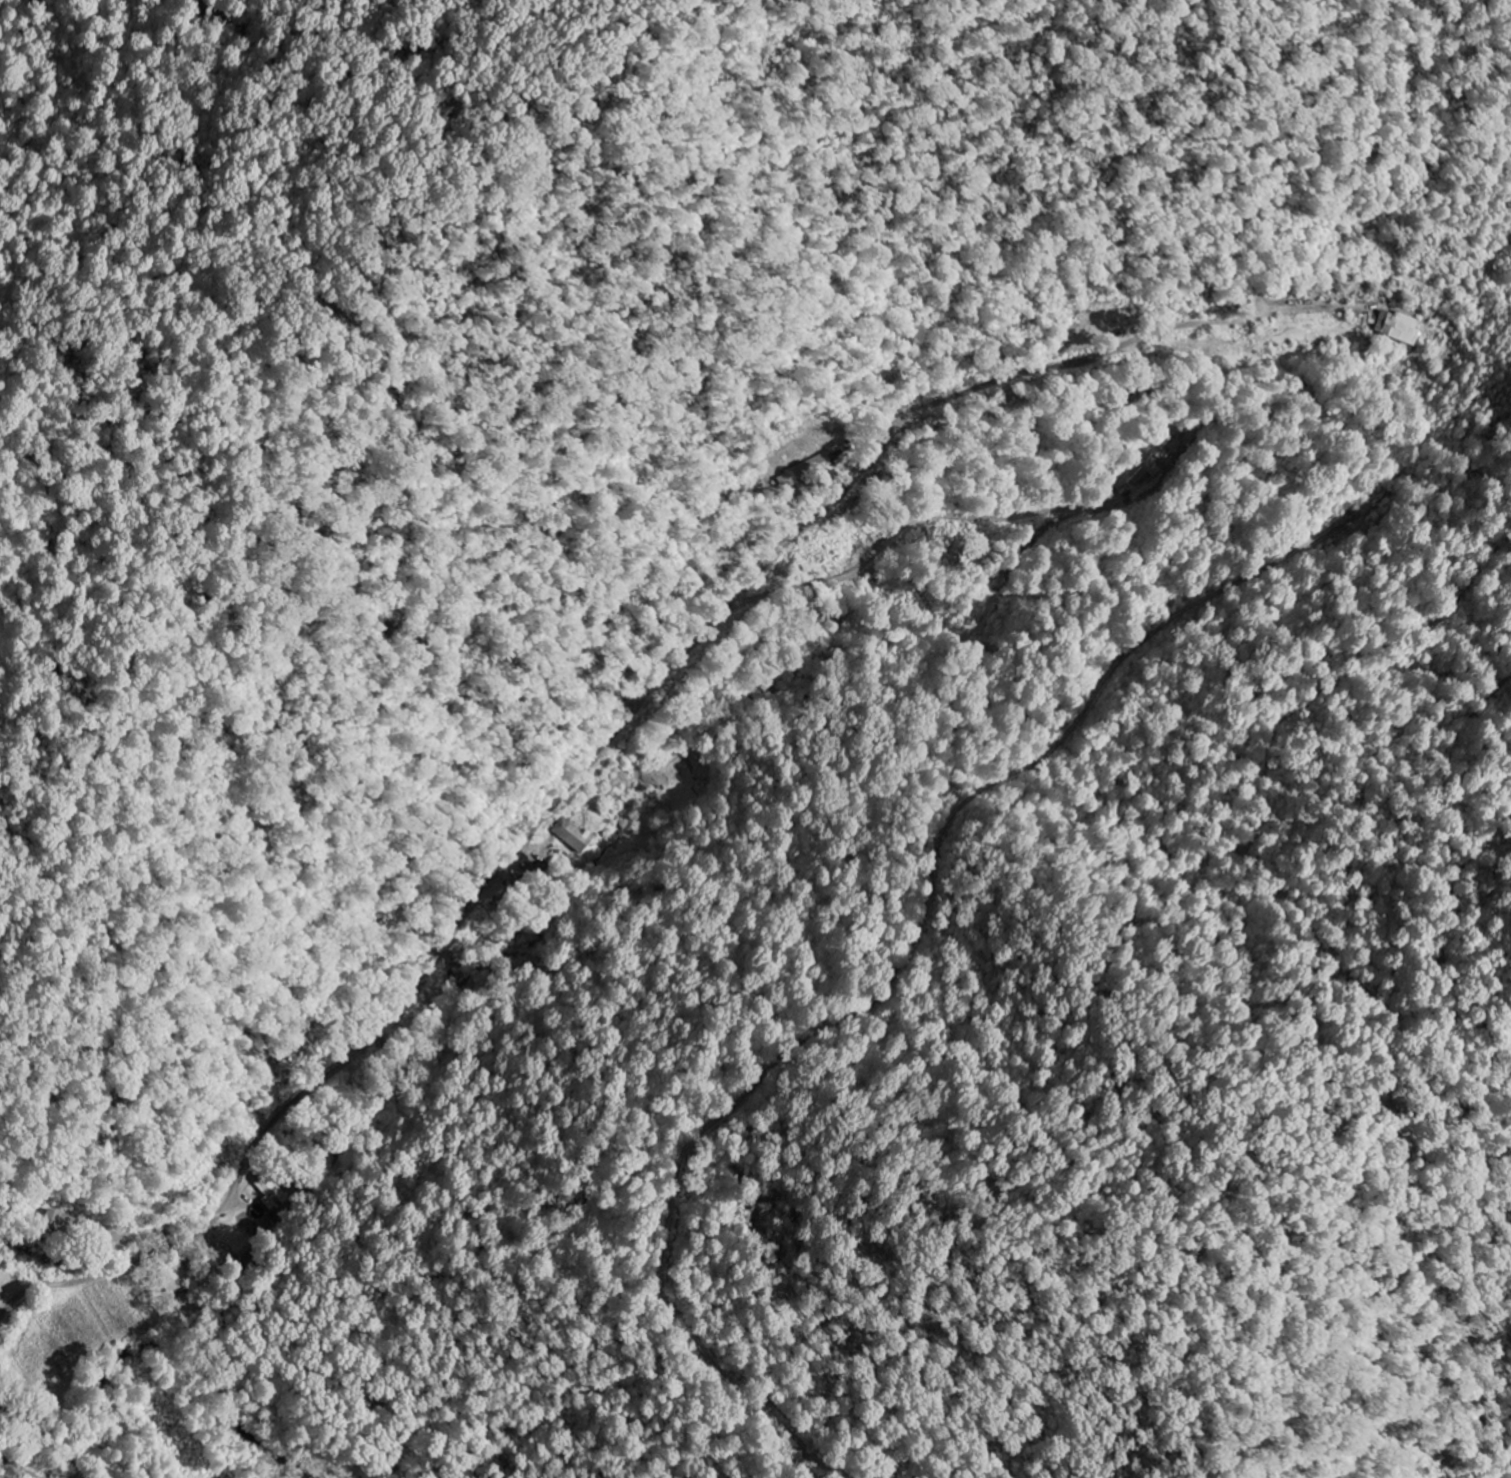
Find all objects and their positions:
building: (1400, 328)
road: (593, 758)
building: (574, 836)
building: (269, 1194)
road: (7, 1473)

